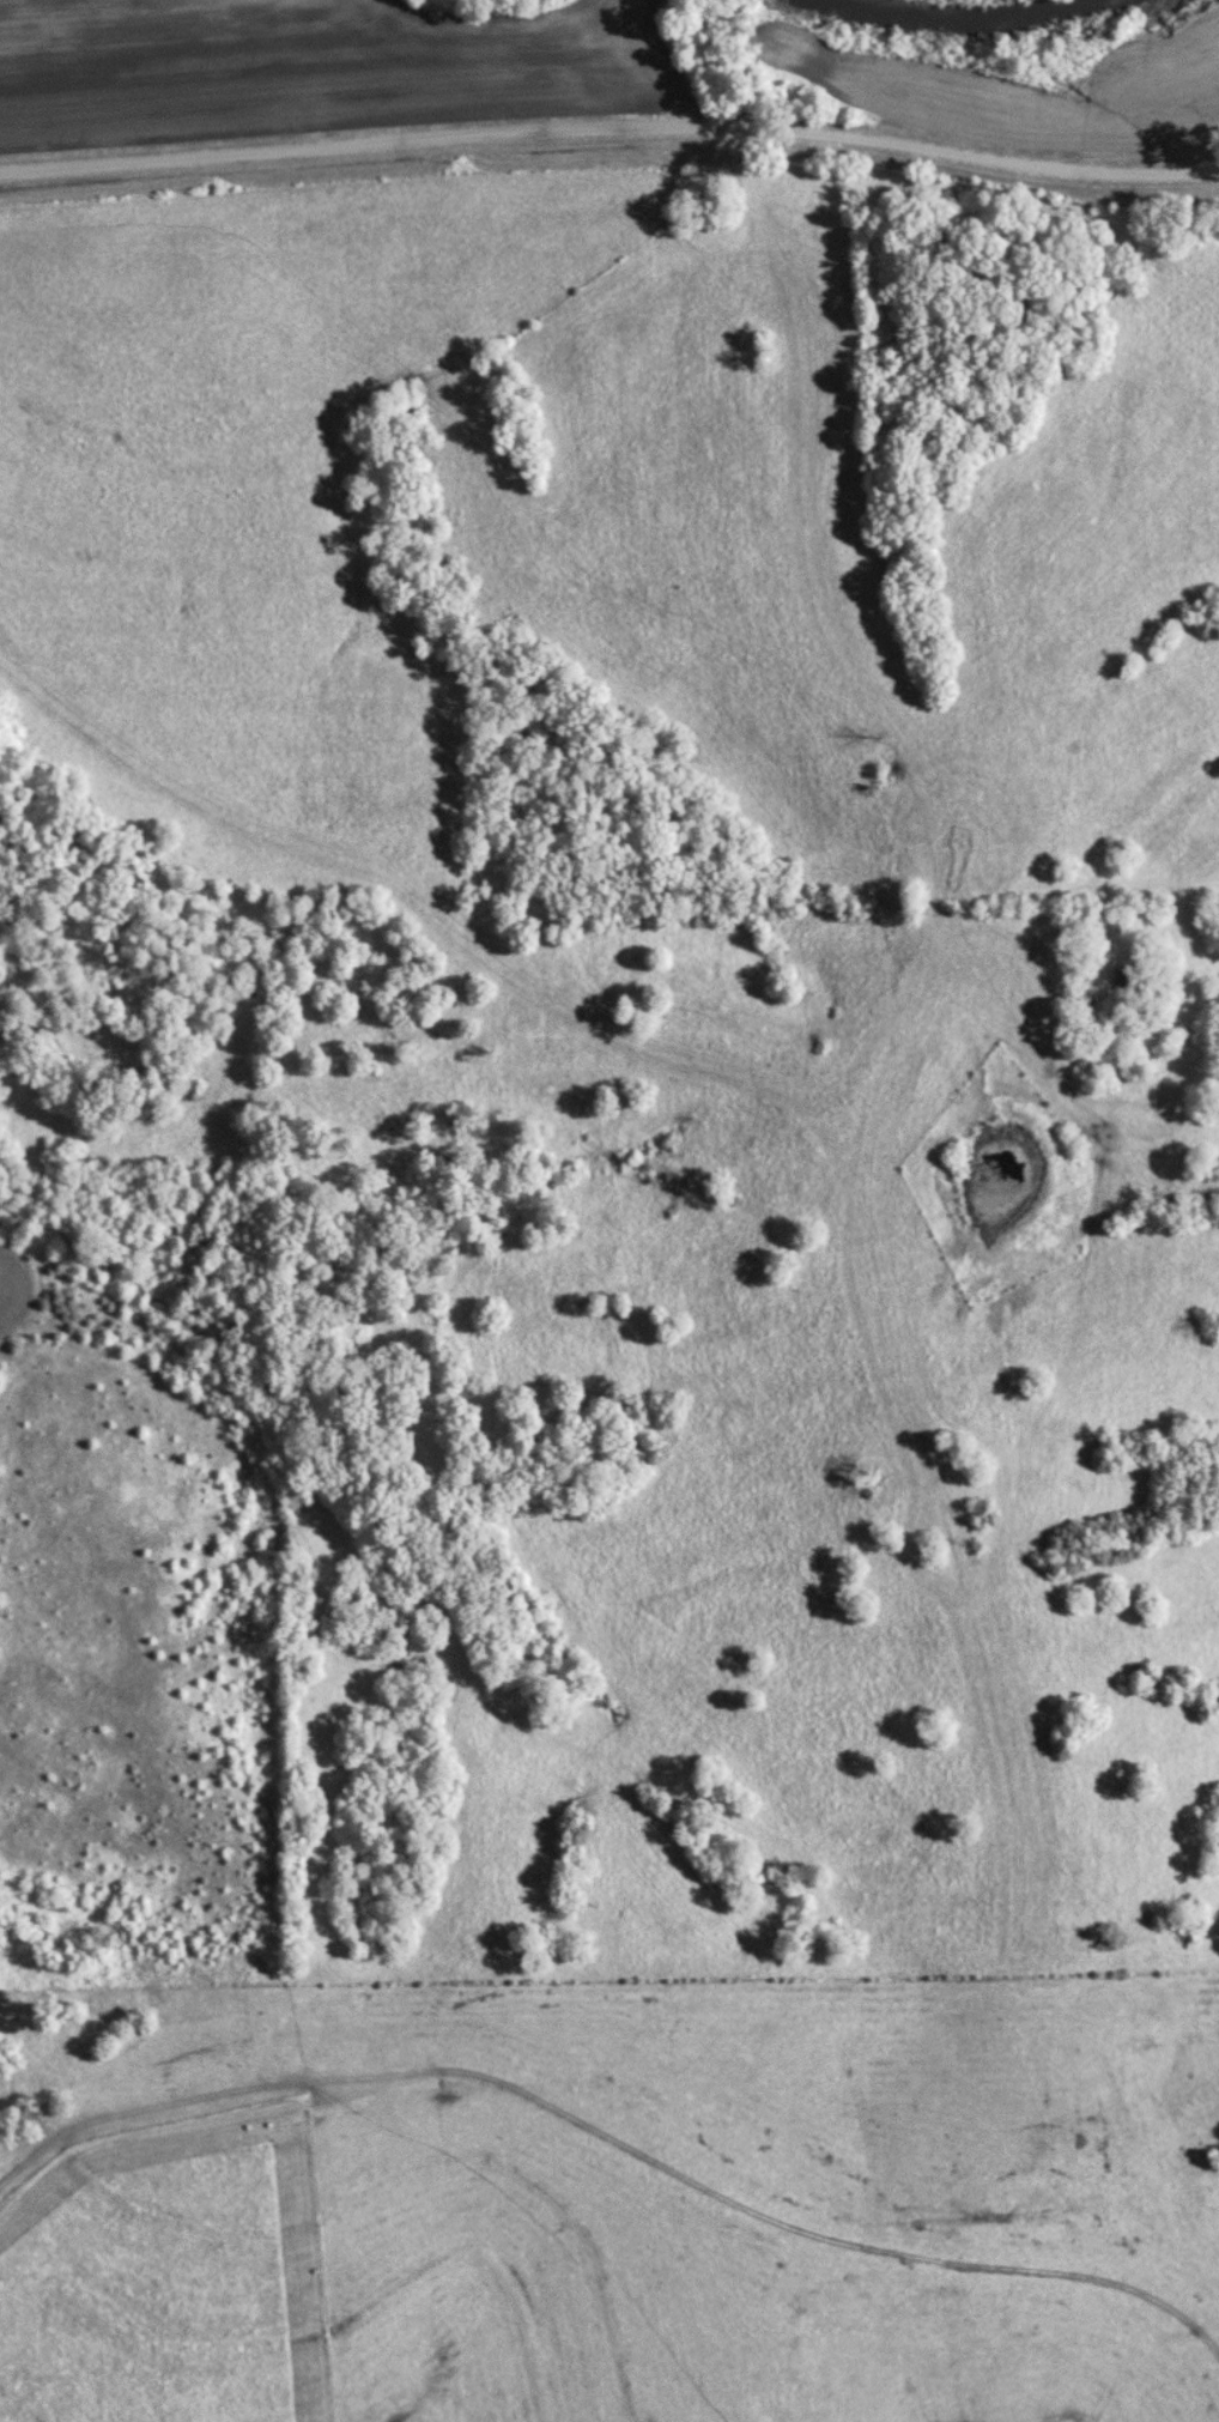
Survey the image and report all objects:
road: (611, 128)
road: (1030, 2399)

